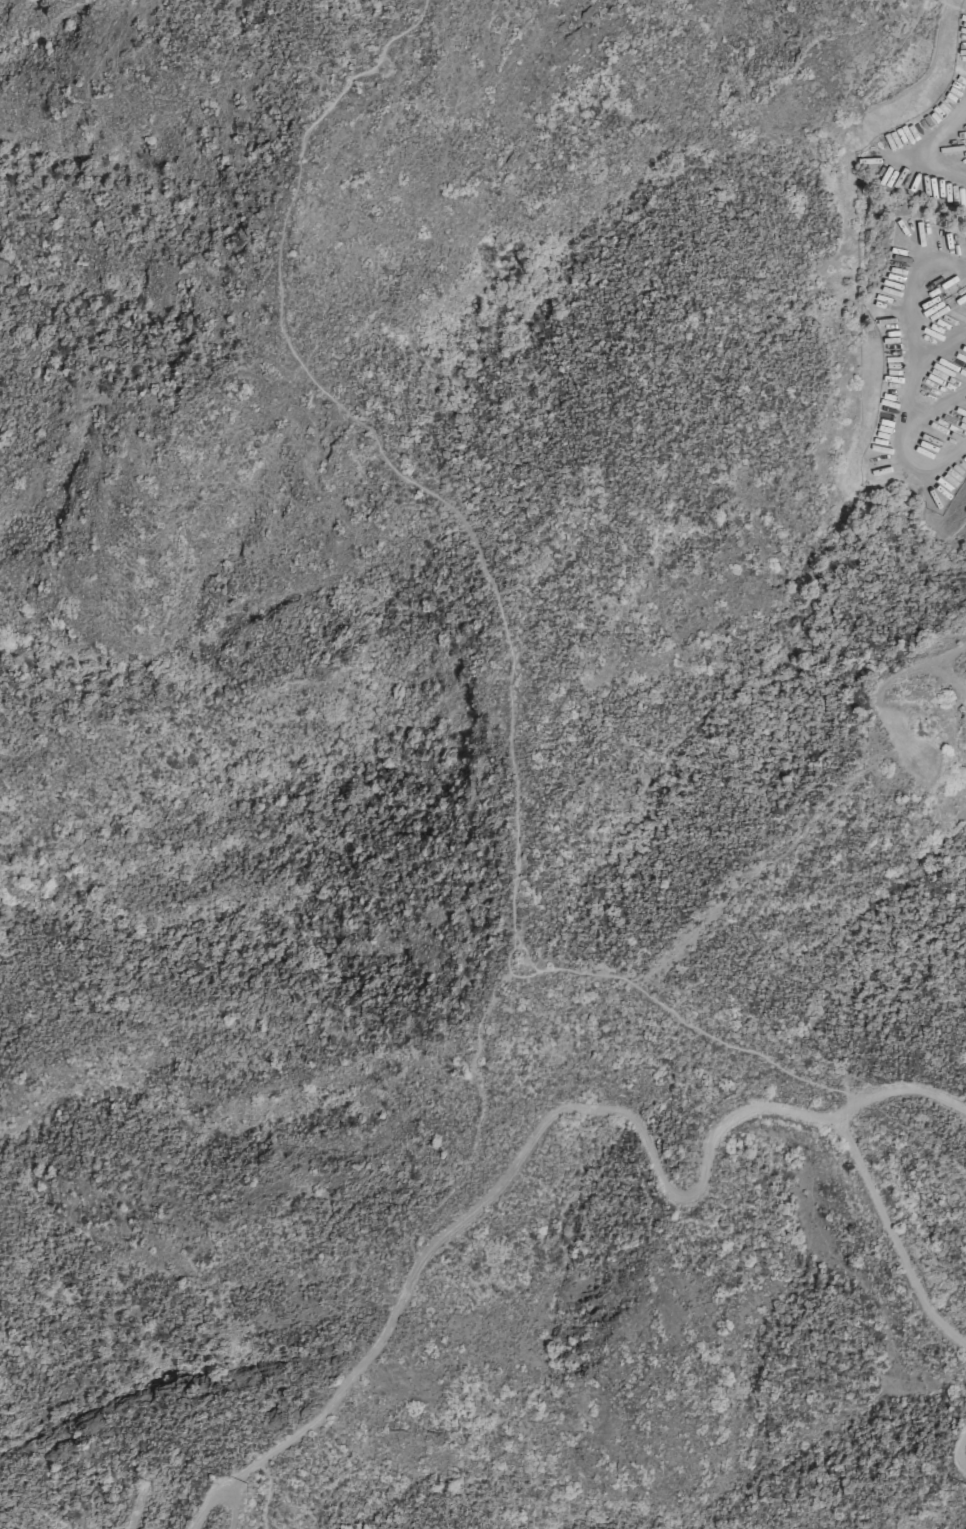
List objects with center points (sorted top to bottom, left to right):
road: (913, 153)
parking lot: (917, 292)
road: (936, 355)
road: (906, 371)
road: (935, 410)
road: (500, 612)
road: (897, 679)
road: (899, 1090)
road: (499, 1184)
road: (890, 1240)
road: (956, 1449)
road: (268, 1493)
road: (138, 1509)
road: (234, 1509)

